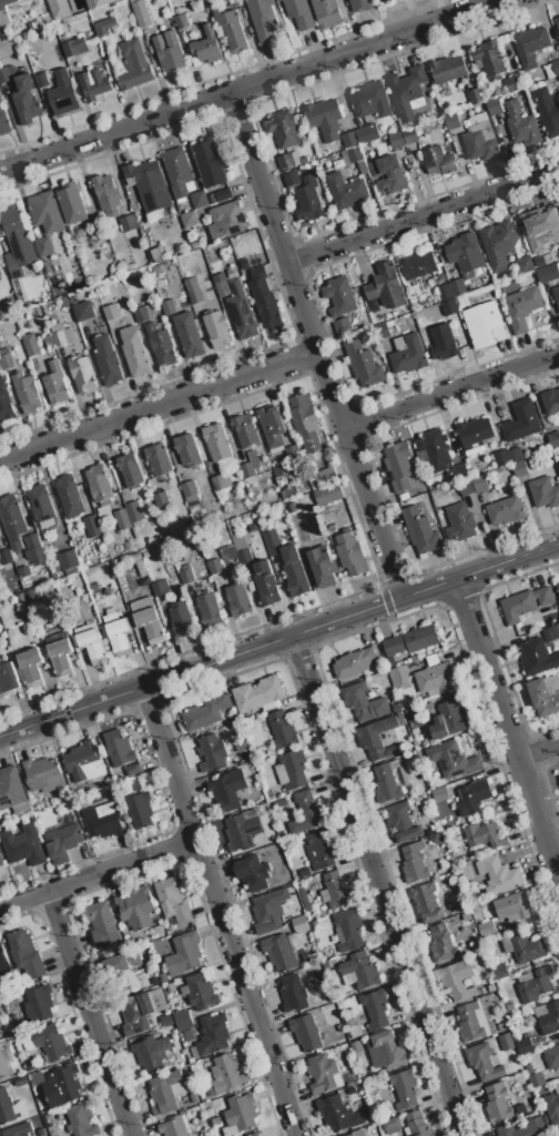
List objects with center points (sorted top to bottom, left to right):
building: (384, 1)
building: (101, 2)
building: (89, 4)
building: (359, 6)
building: (59, 9)
building: (4, 11)
building: (140, 13)
building: (298, 13)
building: (326, 13)
building: (180, 20)
building: (262, 20)
building: (557, 24)
building: (30, 27)
building: (104, 28)
building: (231, 30)
building: (4, 37)
building: (531, 45)
building: (206, 48)
building: (74, 49)
building: (169, 53)
building: (489, 60)
building: (134, 67)
building: (552, 70)
building: (447, 71)
building: (6, 75)
building: (41, 80)
building: (515, 83)
building: (93, 85)
road: (248, 85)
building: (406, 92)
building: (62, 95)
building: (475, 98)
building: (558, 98)
building: (26, 101)
building: (370, 101)
building: (494, 108)
building: (548, 112)
building: (322, 114)
building: (451, 122)
building: (3, 123)
building: (521, 125)
building: (283, 131)
building: (367, 134)
building: (410, 136)
building: (480, 140)
building: (396, 141)
building: (344, 143)
building: (354, 155)
building: (286, 162)
building: (438, 162)
building: (210, 163)
building: (179, 173)
building: (389, 175)
building: (292, 180)
building: (149, 186)
building: (346, 192)
building: (223, 195)
building: (106, 196)
building: (199, 200)
building: (308, 201)
building: (71, 204)
building: (45, 213)
road: (421, 215)
building: (189, 221)
building: (227, 221)
building: (129, 224)
building: (538, 227)
building: (99, 229)
building: (17, 243)
building: (498, 244)
building: (558, 246)
building: (43, 247)
building: (155, 253)
building: (465, 254)
building: (244, 265)
building: (525, 265)
building: (417, 266)
building: (0, 273)
building: (548, 273)
building: (0, 275)
building: (386, 287)
building: (222, 288)
building: (458, 288)
building: (193, 292)
building: (445, 293)
building: (557, 295)
building: (339, 297)
building: (265, 301)
building: (63, 303)
building: (169, 308)
building: (449, 308)
building: (522, 308)
building: (83, 312)
building: (242, 312)
building: (111, 313)
building: (141, 316)
building: (342, 326)
building: (485, 326)
building: (216, 331)
building: (382, 332)
building: (189, 335)
building: (61, 336)
building: (443, 344)
building: (30, 345)
building: (162, 346)
road: (312, 346)
building: (134, 353)
building: (408, 356)
building: (6, 359)
building: (106, 362)
building: (364, 365)
building: (82, 375)
building: (55, 385)
building: (26, 394)
road: (448, 394)
building: (550, 403)
building: (6, 405)
road: (156, 408)
building: (305, 423)
building: (521, 423)
building: (272, 427)
building: (245, 432)
building: (474, 436)
building: (553, 440)
building: (217, 444)
building: (435, 450)
building: (187, 452)
building: (293, 454)
building: (515, 456)
building: (501, 459)
building: (157, 460)
building: (398, 467)
building: (130, 470)
building: (247, 470)
building: (519, 470)
building: (458, 474)
building: (328, 476)
building: (218, 484)
building: (479, 485)
building: (99, 486)
building: (465, 488)
building: (190, 489)
building: (288, 493)
building: (543, 494)
building: (328, 495)
building: (69, 498)
building: (161, 500)
building: (41, 507)
building: (506, 511)
building: (133, 513)
building: (150, 515)
building: (122, 520)
building: (12, 523)
building: (460, 524)
building: (91, 527)
building: (254, 527)
building: (420, 531)
building: (272, 544)
building: (34, 550)
building: (242, 550)
building: (228, 555)
building: (350, 555)
building: (6, 558)
building: (135, 559)
building: (68, 561)
building: (322, 567)
building: (215, 568)
building: (24, 572)
building: (294, 572)
building: (186, 578)
building: (266, 585)
building: (558, 588)
building: (159, 590)
building: (30, 596)
building: (21, 599)
building: (238, 601)
building: (525, 605)
building: (210, 610)
building: (26, 617)
building: (182, 620)
building: (150, 626)
building: (118, 633)
building: (551, 633)
road: (279, 640)
building: (411, 641)
building: (92, 647)
building: (60, 658)
building: (537, 658)
building: (390, 662)
building: (354, 663)
building: (30, 668)
building: (400, 679)
building: (8, 680)
building: (435, 680)
building: (257, 696)
building: (546, 696)
building: (364, 703)
building: (396, 709)
building: (207, 712)
building: (400, 717)
building: (414, 718)
building: (448, 721)
road: (507, 730)
building: (282, 731)
building: (377, 740)
building: (119, 750)
building: (211, 754)
road: (538, 754)
building: (453, 761)
building: (83, 763)
building: (133, 770)
building: (294, 770)
building: (40, 773)
building: (558, 778)
building: (389, 782)
building: (227, 791)
building: (12, 792)
building: (440, 795)
building: (474, 798)
building: (279, 803)
building: (140, 810)
building: (443, 811)
building: (307, 813)
building: (103, 822)
building: (402, 823)
building: (242, 833)
building: (485, 836)
building: (437, 839)
building: (62, 841)
building: (23, 846)
building: (322, 850)
building: (1, 863)
building: (414, 864)
road: (96, 871)
building: (253, 873)
building: (304, 873)
building: (465, 873)
building: (499, 875)
road: (374, 887)
building: (335, 892)
building: (173, 901)
building: (426, 904)
building: (461, 906)
building: (512, 907)
building: (135, 909)
road: (218, 911)
building: (268, 912)
building: (476, 914)
building: (467, 917)
building: (102, 925)
building: (299, 925)
building: (348, 931)
building: (486, 931)
building: (156, 932)
building: (443, 945)
building: (527, 949)
building: (279, 953)
building: (26, 955)
building: (184, 955)
building: (3, 962)
building: (123, 971)
building: (360, 971)
building: (499, 973)
building: (163, 977)
building: (457, 981)
building: (1, 985)
building: (533, 985)
building: (170, 988)
building: (200, 993)
building: (293, 994)
building: (39, 1003)
building: (510, 1007)
building: (375, 1010)
road: (88, 1012)
building: (141, 1012)
building: (548, 1017)
building: (183, 1022)
building: (470, 1023)
building: (353, 1028)
building: (501, 1028)
building: (1, 1032)
building: (305, 1033)
building: (213, 1035)
building: (506, 1043)
building: (48, 1044)
building: (355, 1047)
building: (525, 1047)
building: (387, 1053)
building: (152, 1054)
building: (551, 1058)
building: (484, 1063)
building: (4, 1064)
building: (29, 1066)
building: (529, 1071)
building: (225, 1075)
building: (323, 1075)
building: (536, 1081)
building: (61, 1087)
building: (404, 1089)
building: (165, 1094)
building: (497, 1104)
building: (552, 1107)
building: (6, 1108)
building: (241, 1114)
building: (338, 1115)
building: (80, 1123)
building: (51, 1124)
building: (417, 1125)
building: (392, 1126)
building: (173, 1127)
building: (524, 1129)
building: (18, 1130)
building: (359, 1134)
building: (256, 1135)

